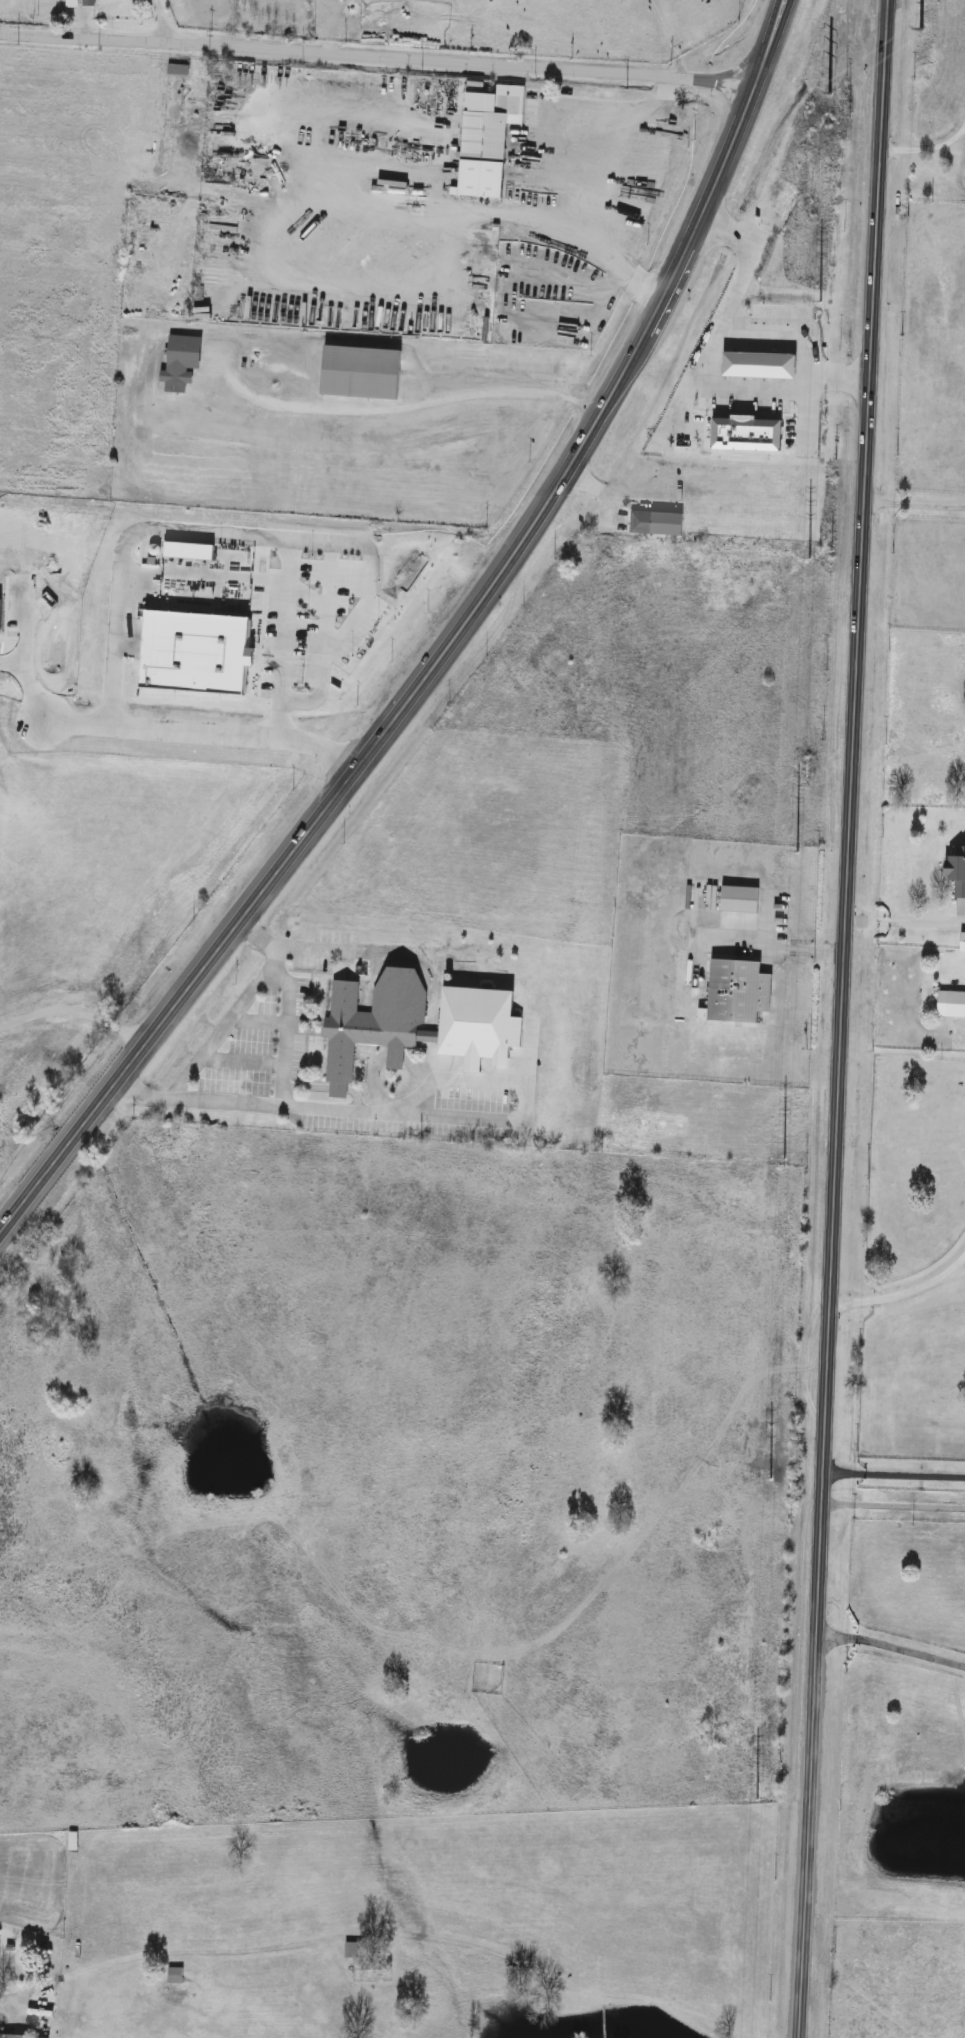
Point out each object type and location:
road: (378, 56)
building: (179, 72)
building: (489, 140)
road: (921, 148)
building: (182, 363)
building: (362, 373)
road: (834, 374)
road: (714, 388)
road: (402, 407)
road: (677, 413)
road: (804, 416)
building: (727, 428)
road: (610, 497)
road: (911, 505)
building: (657, 525)
road: (212, 533)
road: (309, 596)
road: (362, 612)
road: (306, 629)
road: (445, 646)
road: (322, 691)
road: (202, 734)
building: (957, 873)
building: (740, 901)
road: (905, 921)
building: (963, 944)
road: (770, 945)
building: (739, 993)
road: (286, 1002)
building: (952, 1006)
road: (73, 1011)
road: (841, 1019)
building: (374, 1025)
road: (217, 1033)
road: (315, 1111)
building: (588, 1277)
road: (904, 1292)
road: (894, 1475)
road: (890, 1648)
building: (355, 1952)
building: (176, 1977)
road: (11, 1997)
building: (6, 2037)

